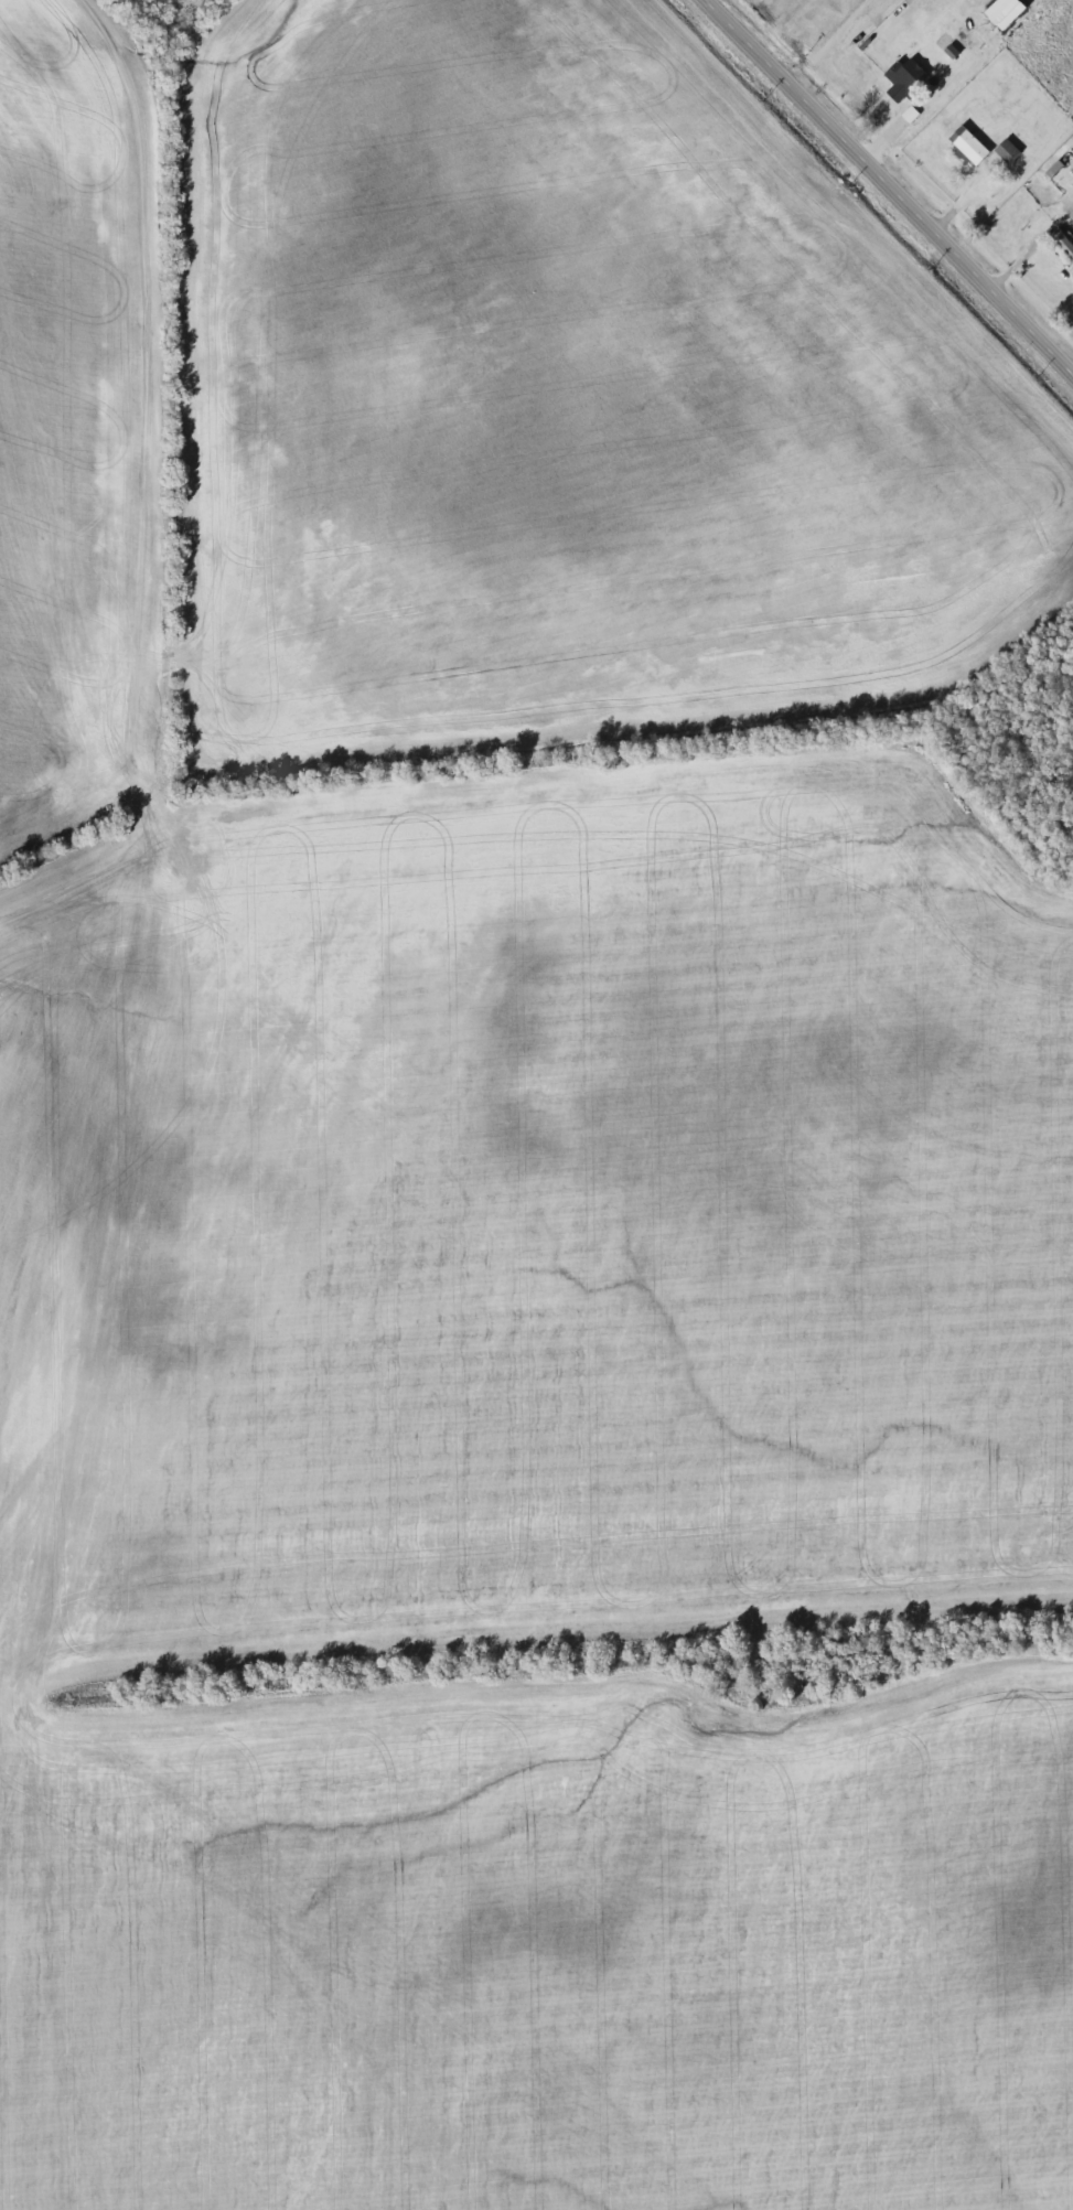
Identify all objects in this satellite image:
building: (904, 82)
road: (886, 131)
building: (968, 146)
building: (1008, 152)
road: (891, 184)
road: (961, 195)
building: (1063, 244)

